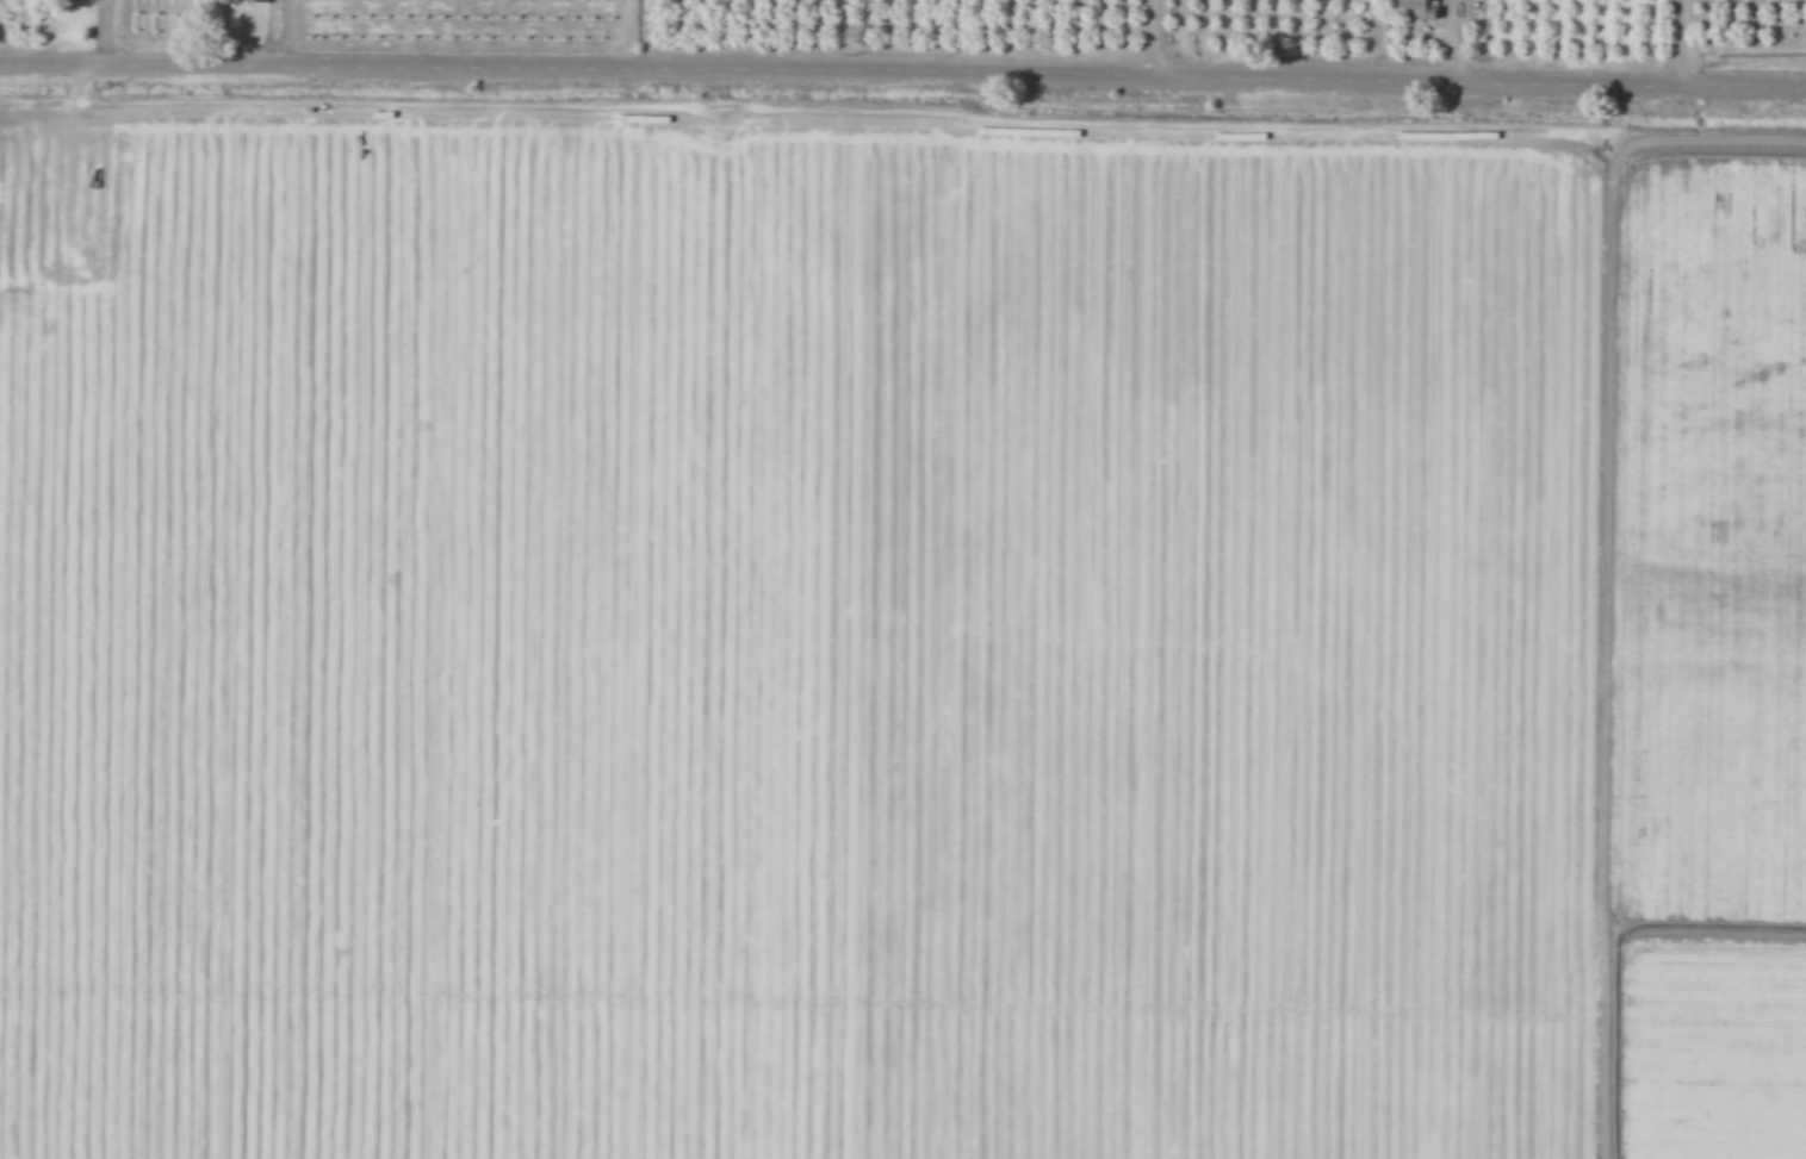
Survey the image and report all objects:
building: (246, 0)
road: (1161, 39)
road: (1686, 44)
road: (902, 75)
road: (82, 453)

